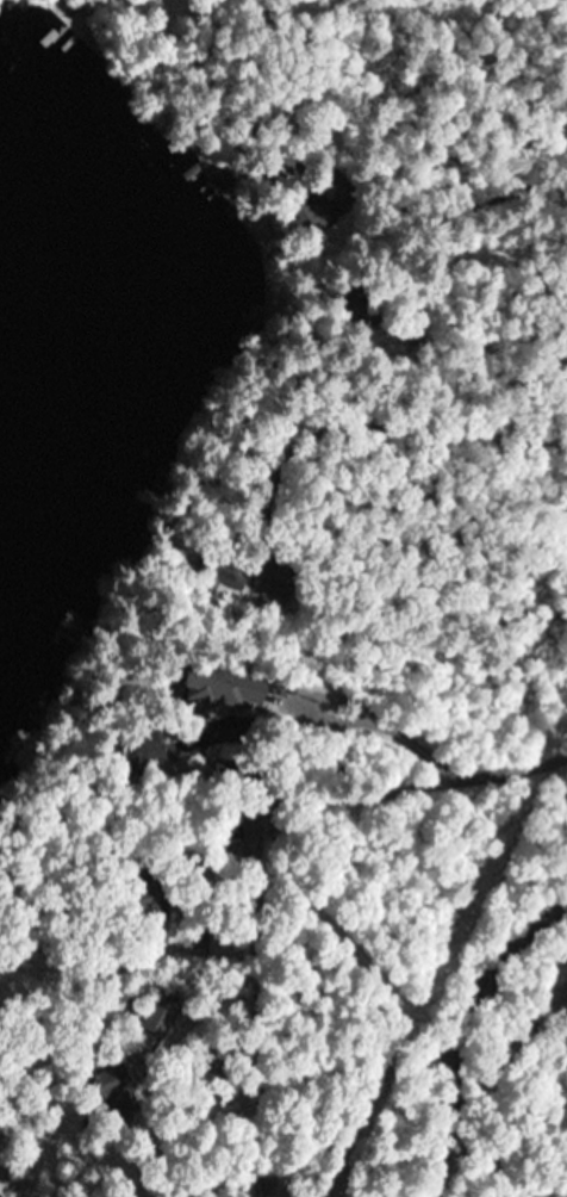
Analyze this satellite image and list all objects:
building: (298, 185)
building: (359, 308)
building: (231, 575)
building: (275, 585)
road: (239, 640)
building: (225, 686)
building: (228, 821)
building: (145, 894)
building: (158, 1016)
road: (453, 1023)
building: (112, 1093)

